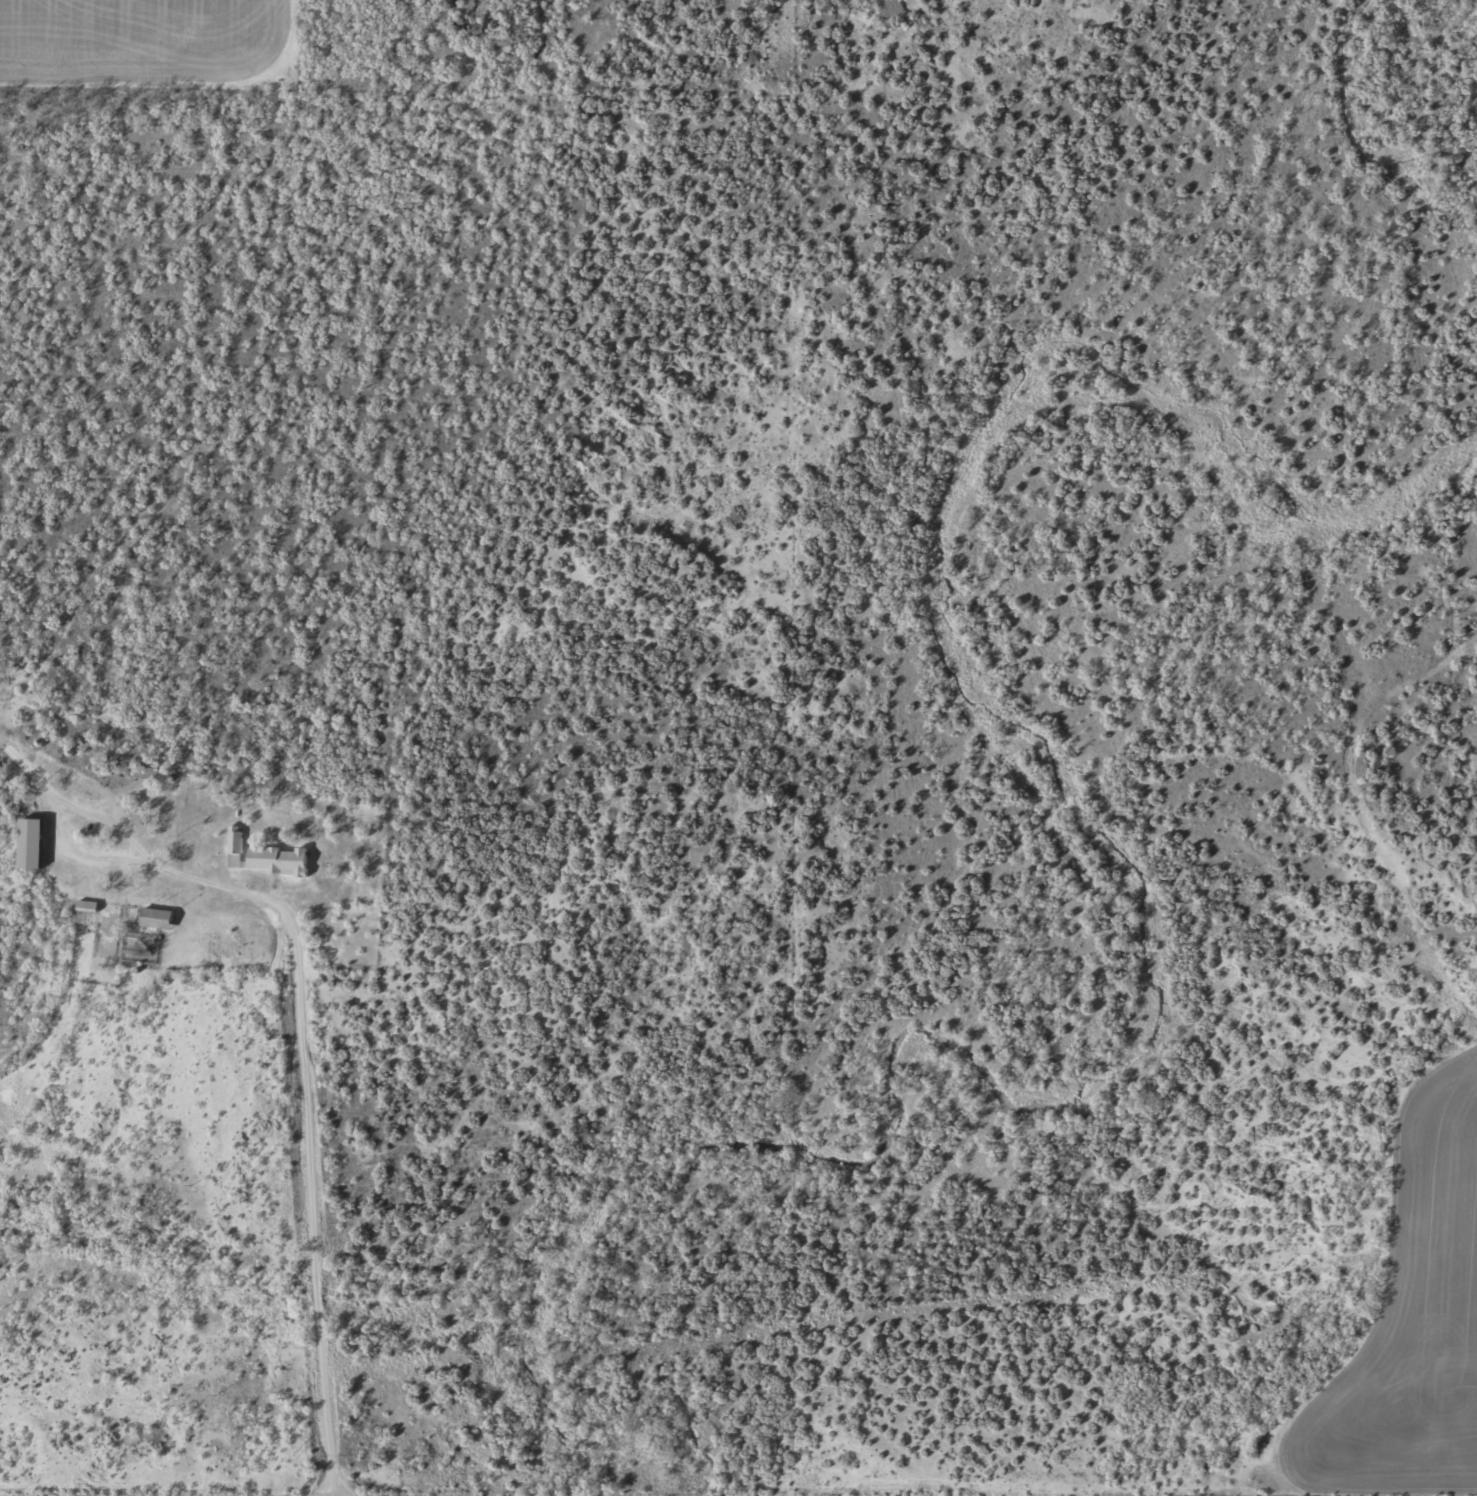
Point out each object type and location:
building: (36, 845)
building: (236, 848)
building: (275, 861)
building: (89, 908)
building: (160, 920)
road: (297, 1037)

